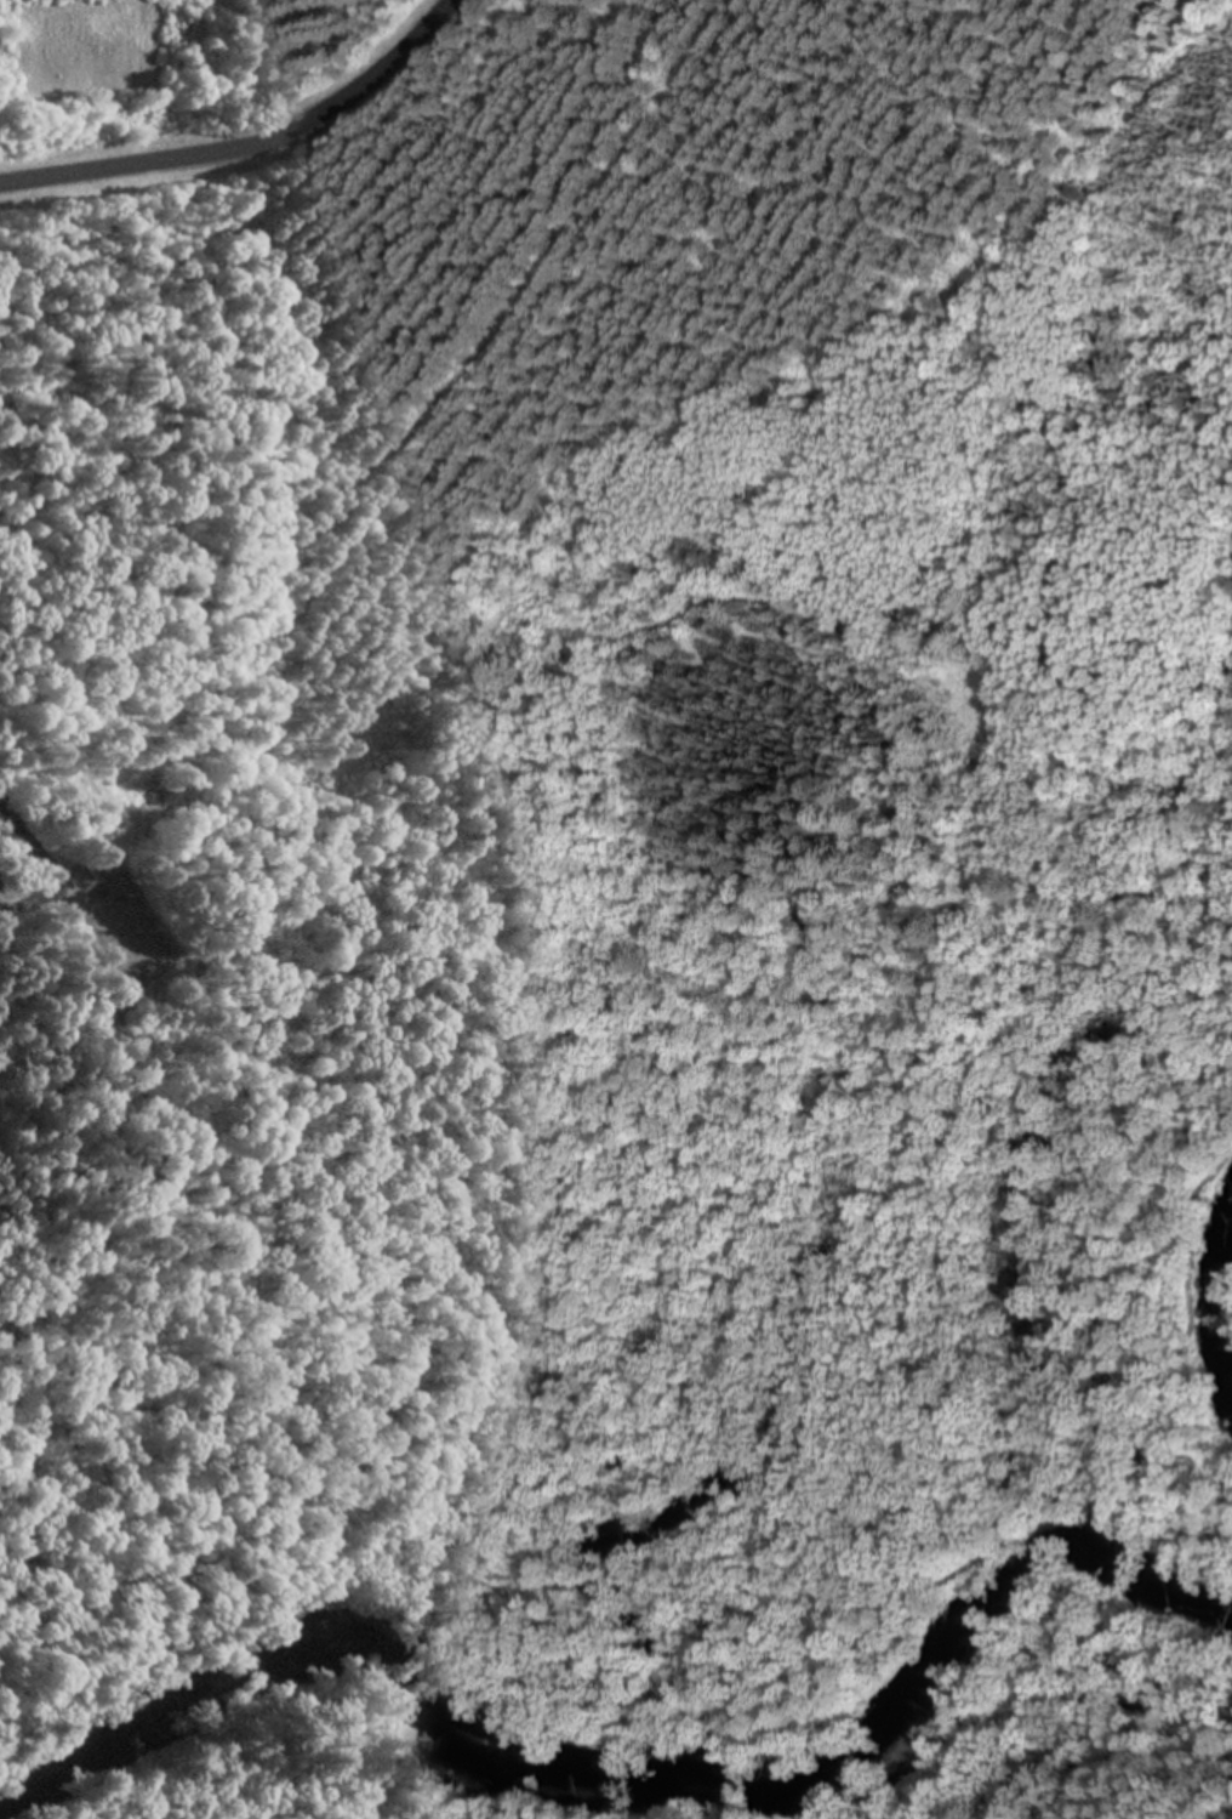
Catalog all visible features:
road: (255, 149)
building: (93, 870)
river: (620, 1780)

